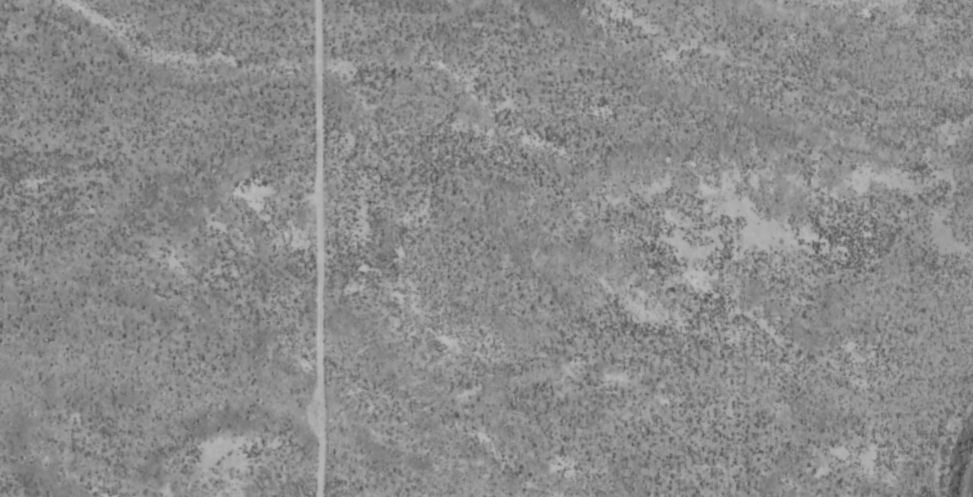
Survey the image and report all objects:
road: (318, 248)

